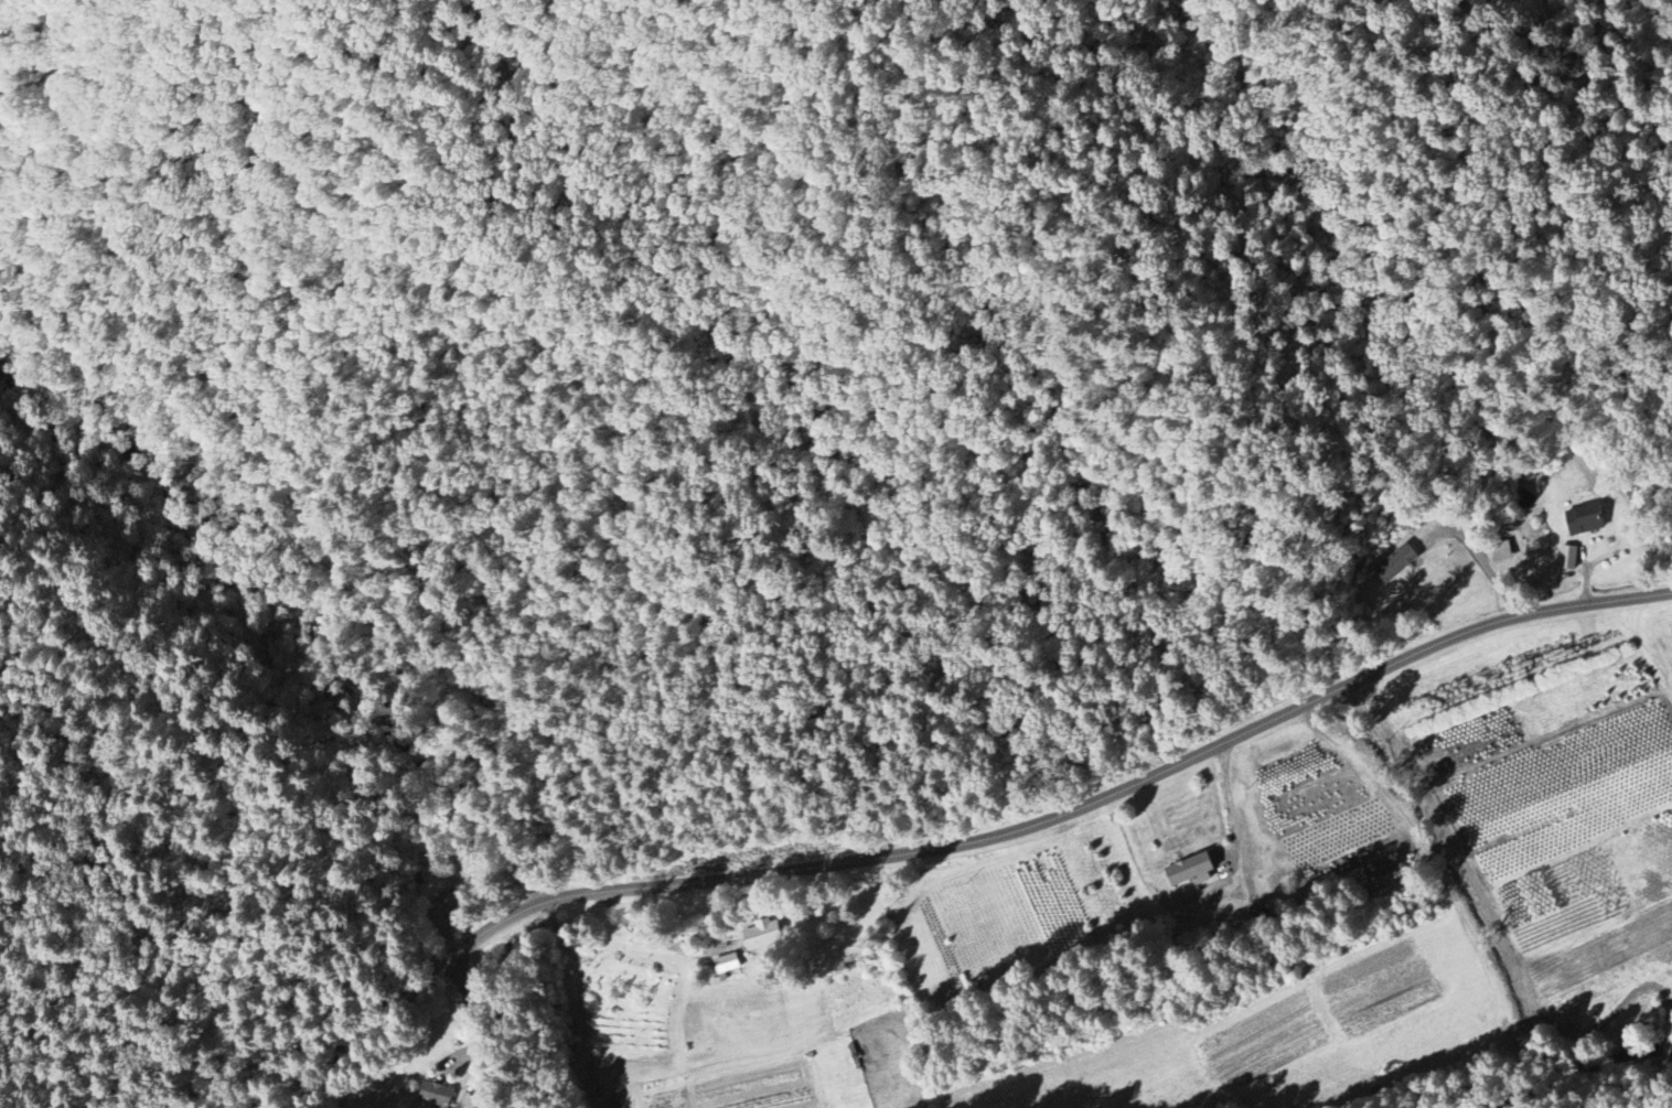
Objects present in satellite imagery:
building: (1572, 518)
building: (1500, 552)
building: (1568, 558)
building: (1395, 563)
road: (1054, 817)
building: (1191, 871)
building: (762, 938)
building: (727, 965)
road: (482, 1031)
road: (350, 1054)
river: (1561, 1063)
building: (436, 1095)

